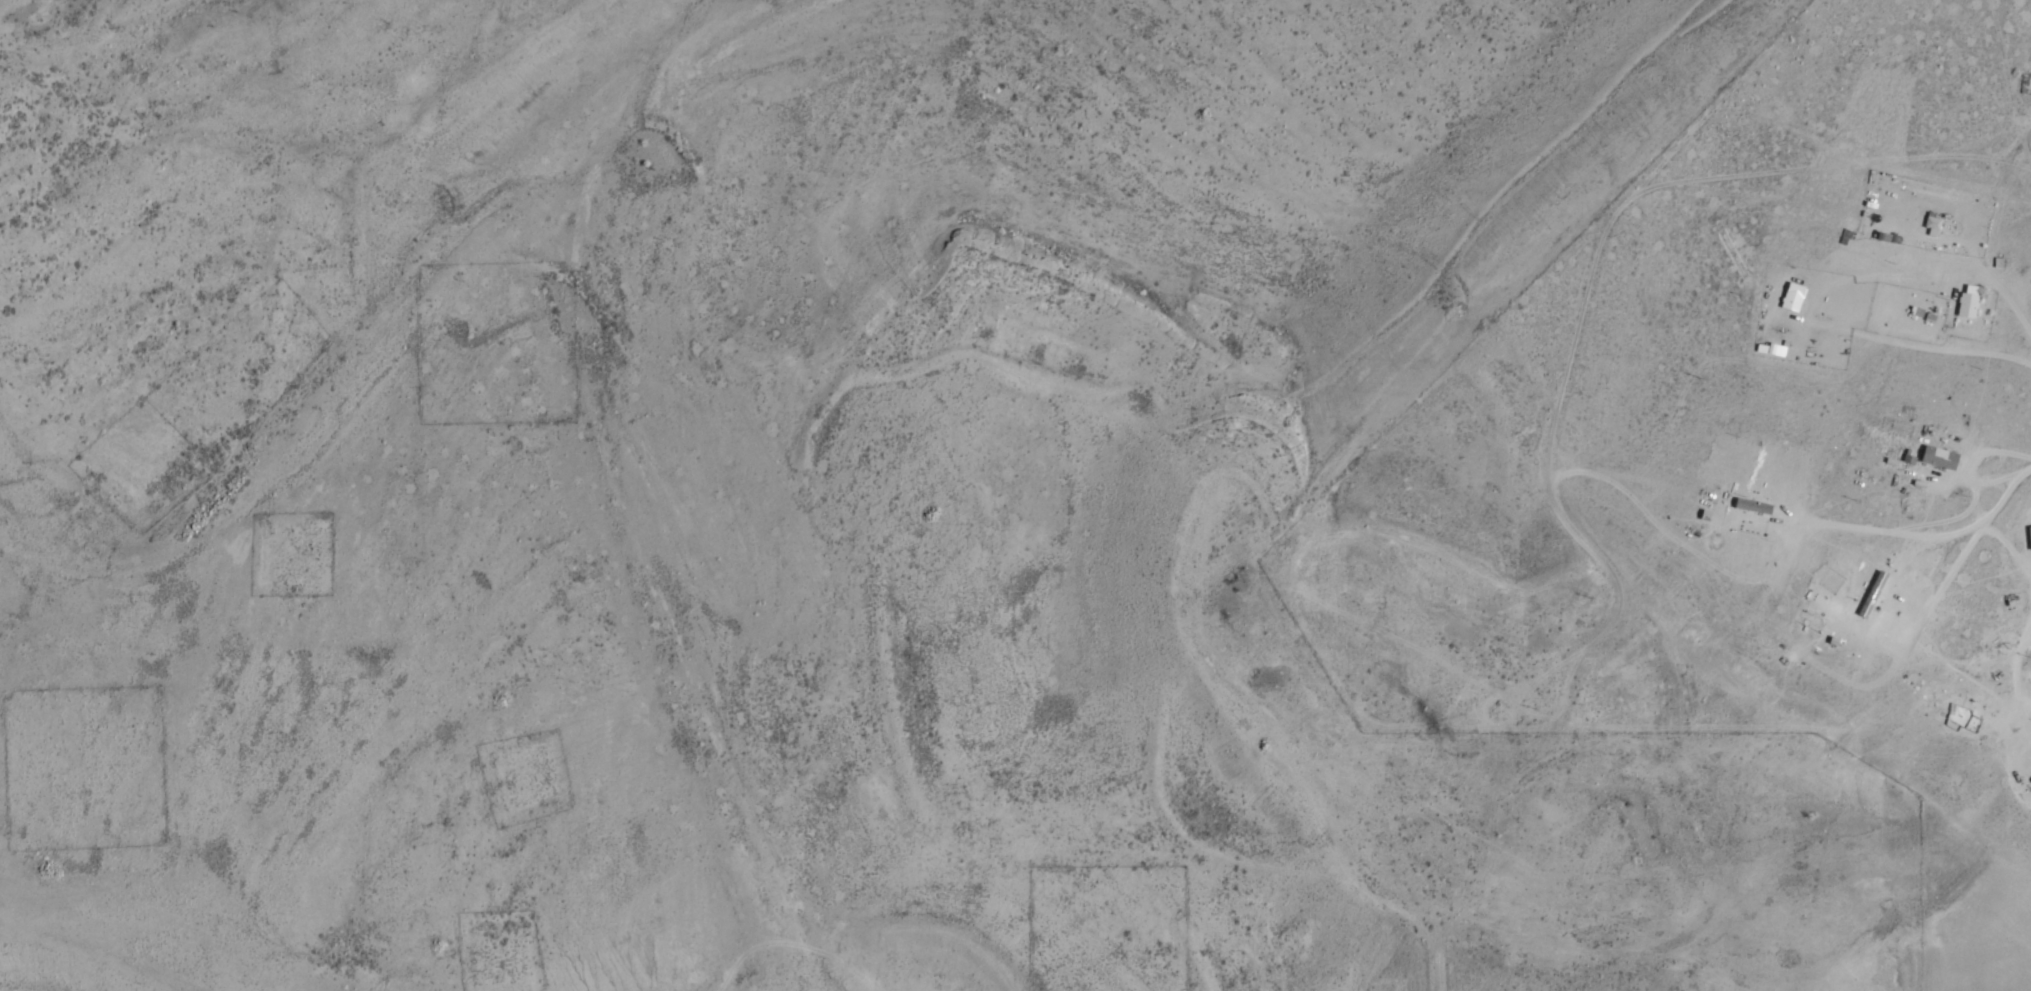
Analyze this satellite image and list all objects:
building: (1932, 221)
building: (1793, 296)
building: (1968, 300)
building: (1940, 457)
building: (1753, 506)
building: (1872, 593)
road: (1493, 747)
road: (1471, 898)
road: (792, 948)

